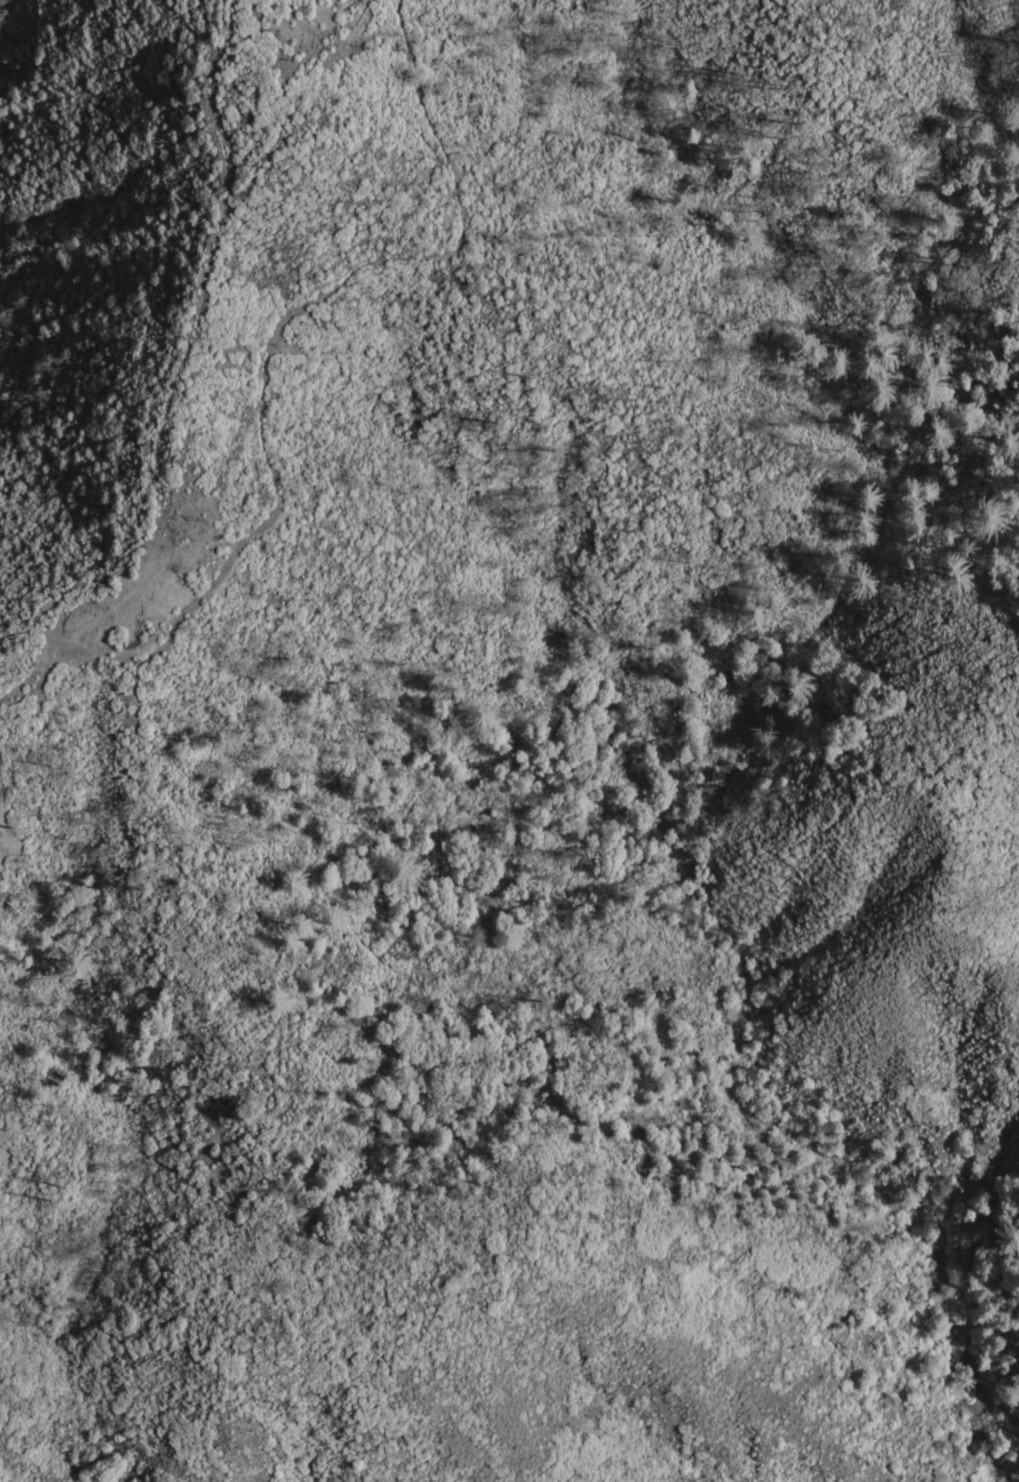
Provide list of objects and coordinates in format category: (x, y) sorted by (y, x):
road: (272, 331)
road: (23, 665)

